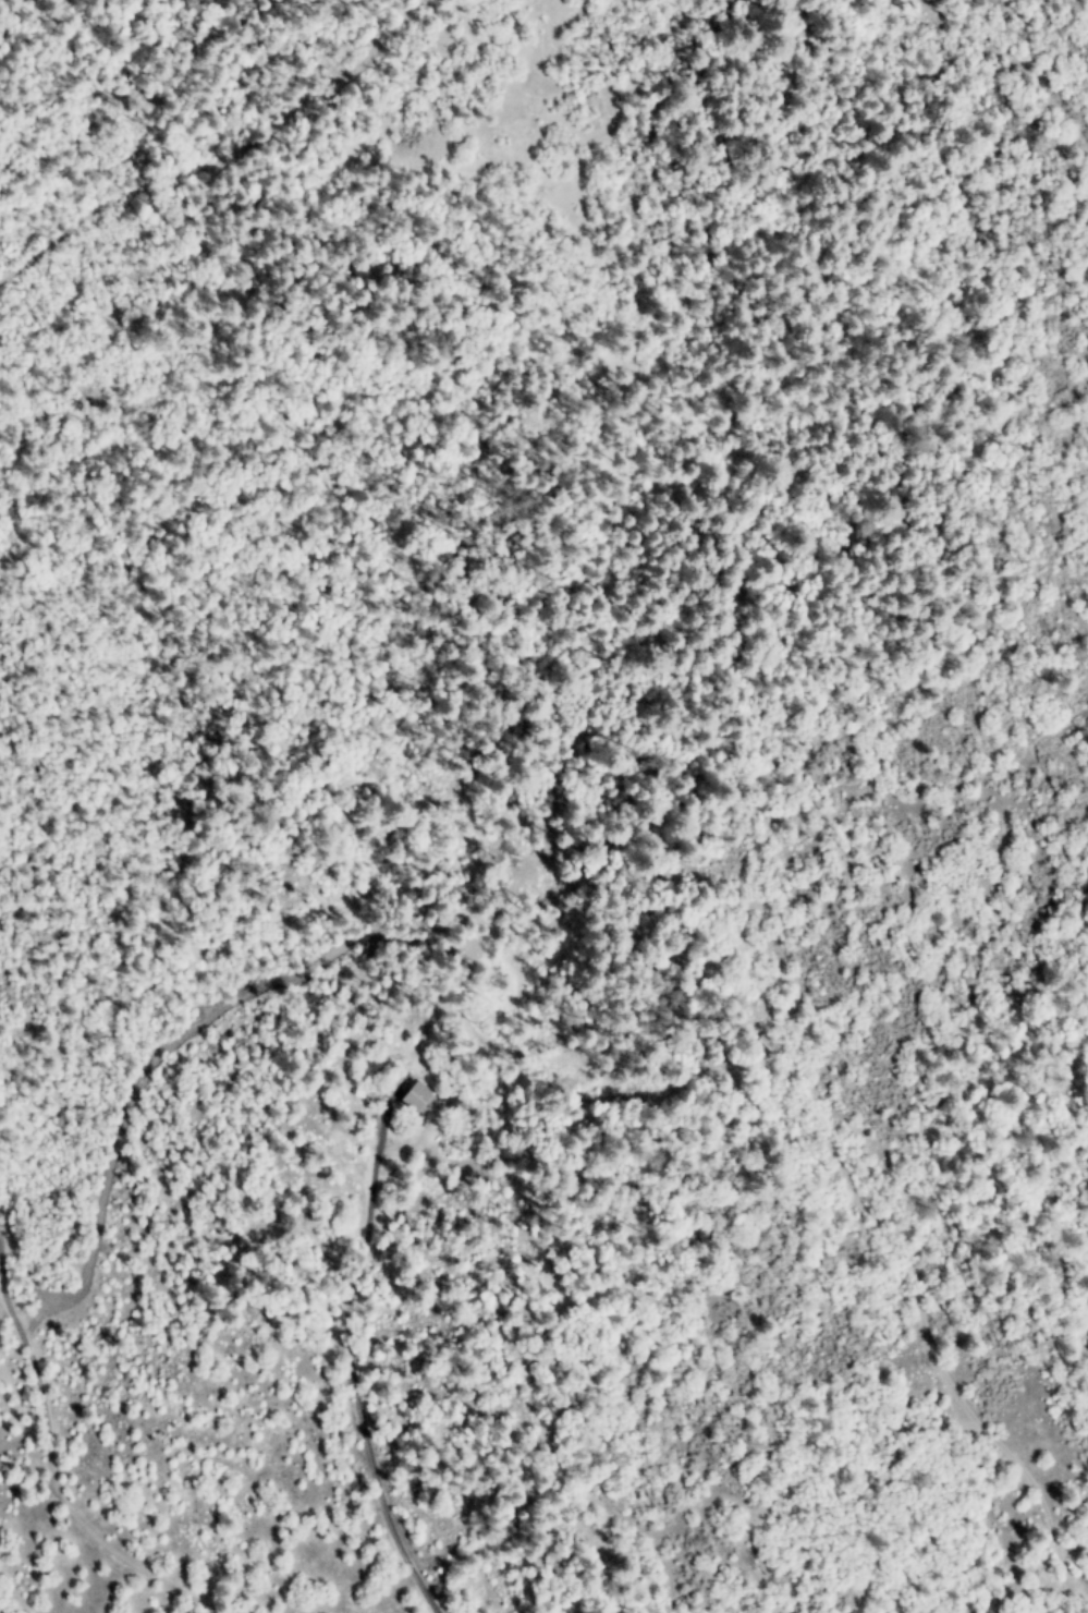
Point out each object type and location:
building: (419, 1100)

